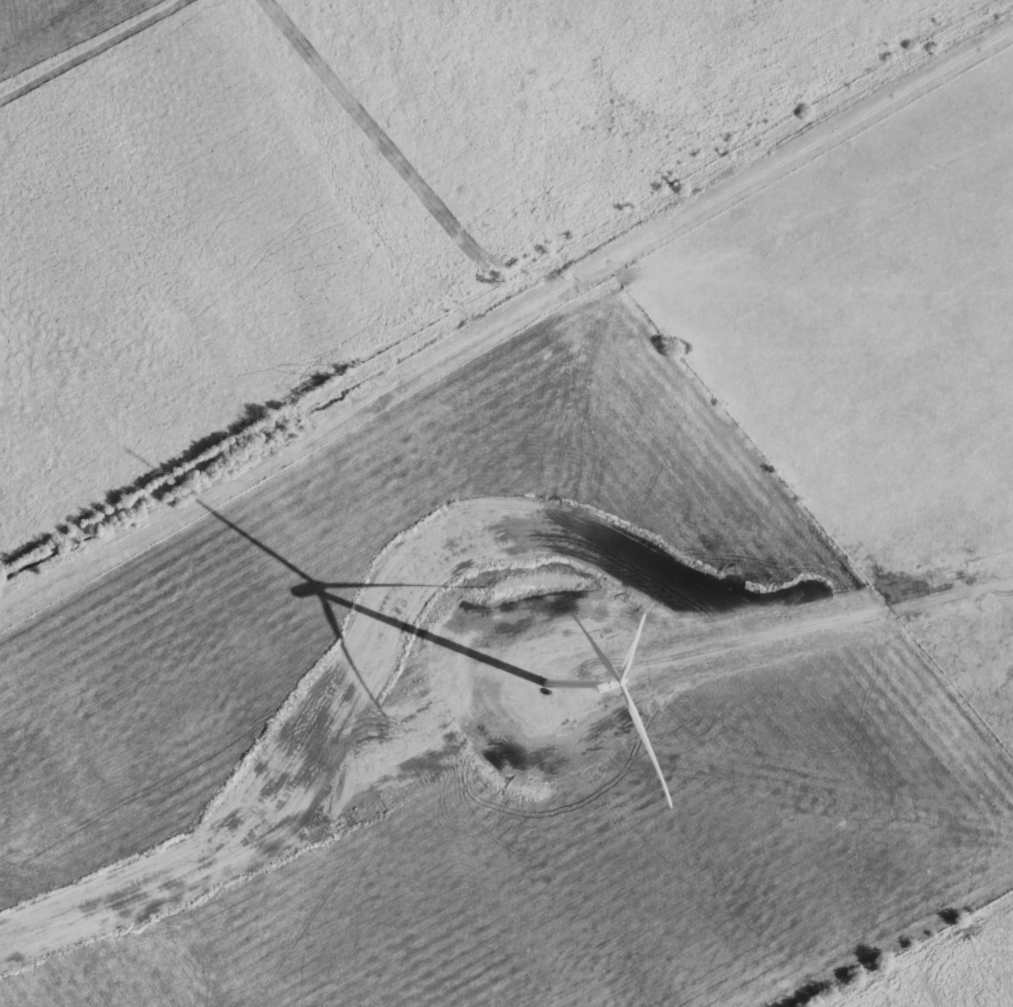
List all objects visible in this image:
road: (796, 625)
wind turbine: (545, 697)

